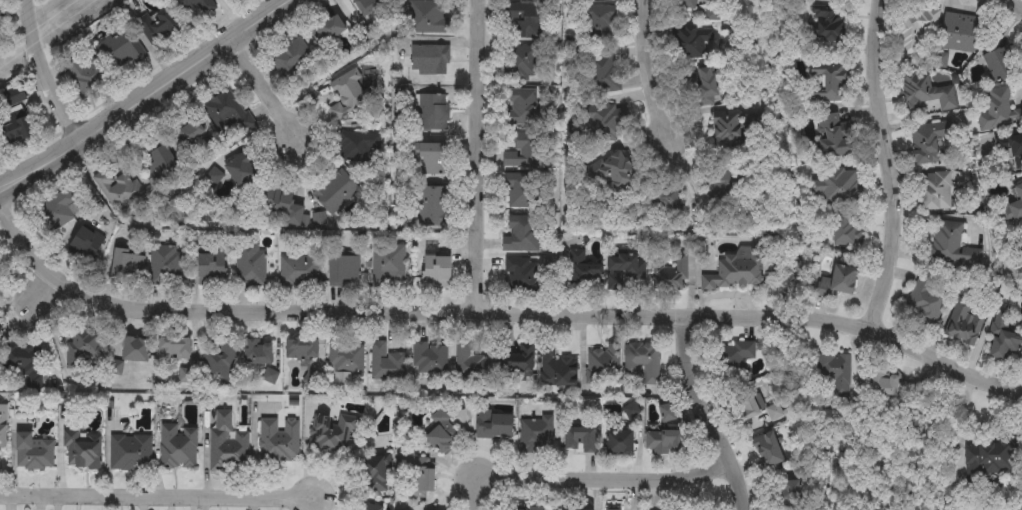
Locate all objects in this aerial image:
building: (226, 0)
building: (608, 0)
building: (687, 4)
road: (1013, 5)
building: (207, 6)
building: (369, 6)
building: (427, 17)
building: (525, 20)
building: (598, 22)
building: (159, 24)
building: (826, 25)
building: (330, 30)
building: (915, 33)
building: (961, 33)
building: (693, 42)
building: (120, 52)
building: (289, 59)
building: (430, 60)
building: (522, 64)
building: (1001, 64)
building: (84, 72)
road: (41, 73)
road: (644, 73)
building: (602, 74)
building: (830, 81)
building: (709, 86)
road: (153, 89)
road: (265, 90)
building: (348, 92)
building: (925, 93)
building: (14, 96)
building: (522, 107)
building: (999, 111)
building: (433, 113)
building: (228, 116)
building: (607, 123)
building: (18, 127)
building: (733, 130)
building: (193, 131)
building: (836, 137)
building: (928, 142)
building: (360, 145)
building: (1010, 147)
building: (524, 151)
road: (477, 156)
building: (434, 159)
building: (162, 164)
road: (890, 169)
building: (240, 171)
building: (615, 172)
road: (8, 181)
building: (839, 186)
building: (721, 187)
road: (8, 188)
building: (1019, 189)
building: (522, 191)
building: (935, 191)
building: (336, 192)
building: (121, 193)
building: (272, 199)
building: (664, 199)
building: (432, 207)
building: (1017, 209)
building: (56, 211)
building: (848, 228)
building: (522, 234)
building: (84, 245)
building: (952, 245)
building: (249, 264)
building: (388, 264)
building: (625, 264)
building: (127, 265)
building: (163, 265)
building: (211, 270)
building: (344, 270)
building: (438, 270)
building: (299, 271)
building: (584, 271)
building: (740, 272)
building: (671, 273)
building: (521, 275)
building: (839, 281)
road: (34, 290)
building: (926, 301)
road: (499, 314)
building: (965, 321)
building: (1, 338)
building: (1005, 338)
building: (174, 349)
building: (81, 350)
building: (136, 350)
building: (301, 350)
building: (257, 352)
building: (738, 355)
building: (345, 359)
building: (430, 359)
building: (20, 360)
building: (518, 362)
building: (645, 362)
building: (218, 364)
building: (386, 364)
building: (471, 364)
building: (605, 366)
building: (556, 367)
building: (836, 372)
building: (885, 384)
building: (746, 408)
road: (709, 413)
building: (776, 413)
building: (669, 414)
building: (496, 425)
building: (3, 426)
building: (441, 433)
building: (535, 433)
building: (332, 434)
building: (582, 439)
building: (277, 441)
building: (665, 441)
building: (622, 443)
building: (227, 445)
building: (178, 449)
building: (771, 450)
building: (81, 452)
building: (33, 453)
building: (131, 453)
building: (992, 456)
building: (375, 474)
road: (601, 481)
building: (422, 482)
building: (790, 494)
road: (159, 500)
building: (536, 508)
building: (578, 509)

